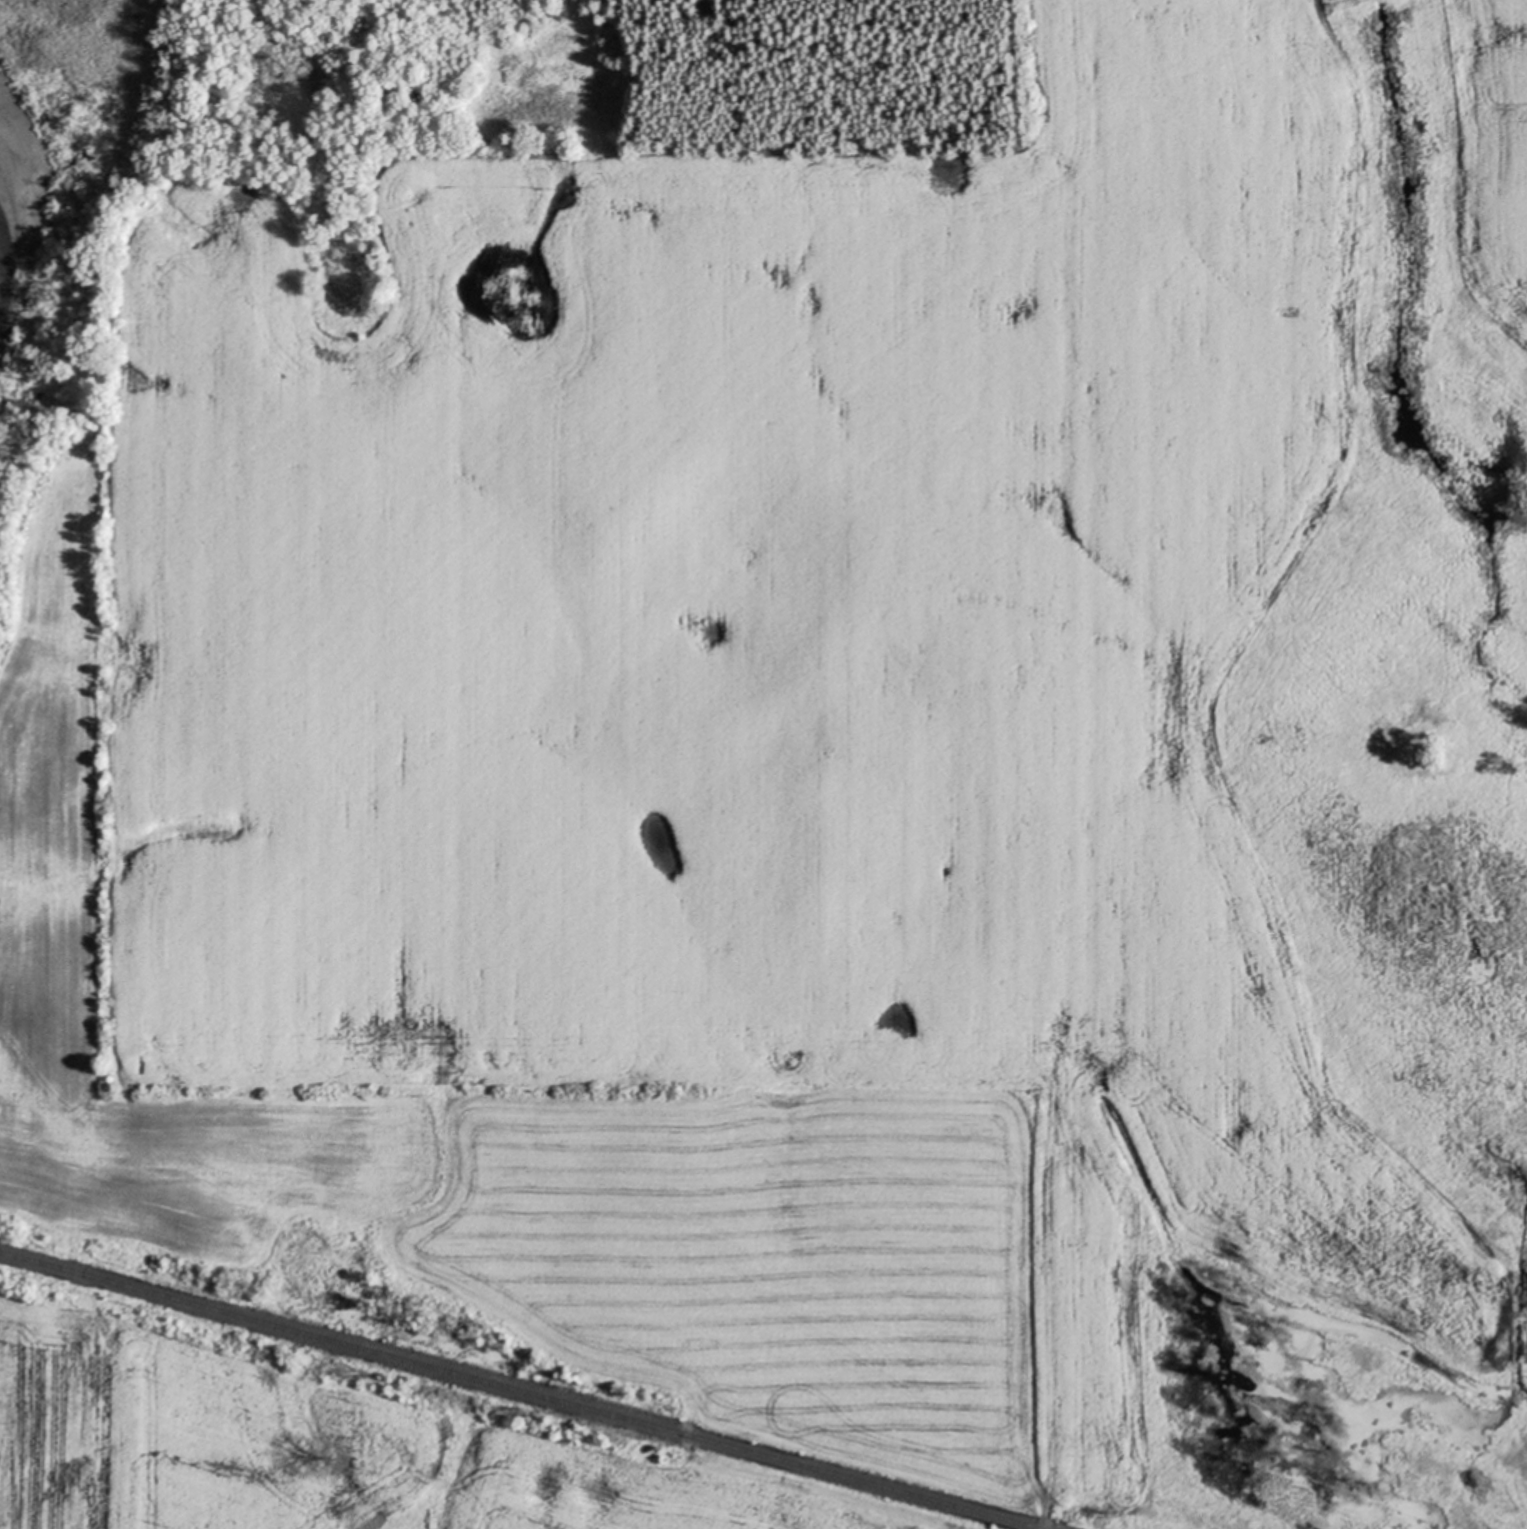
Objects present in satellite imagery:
railway: (519, 1390)
road: (1045, 1509)

